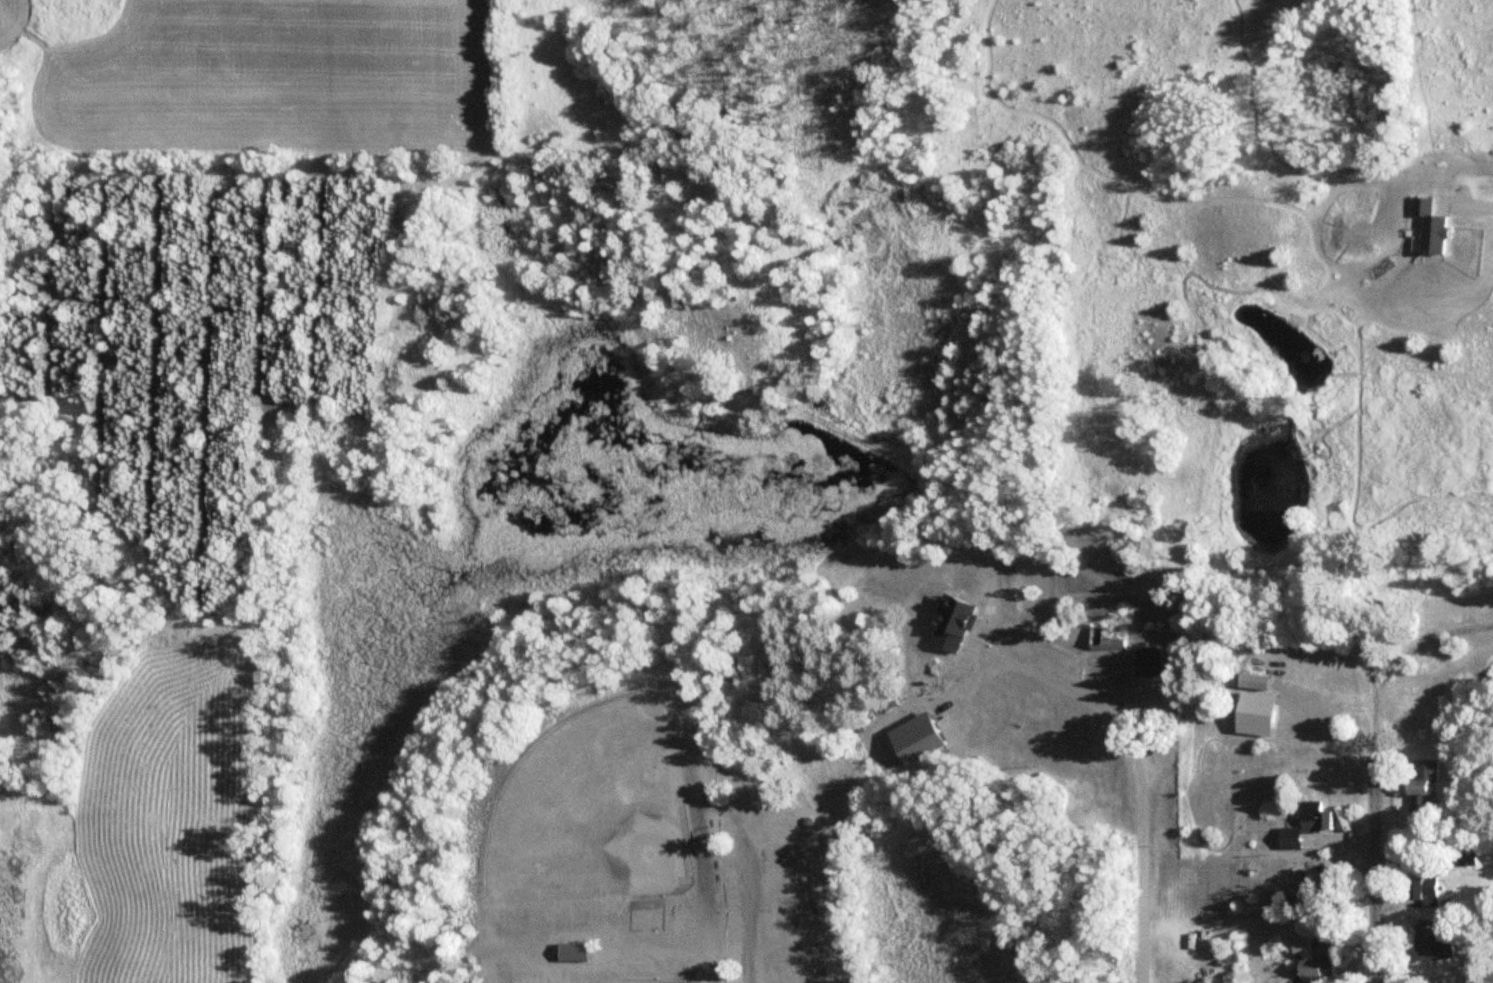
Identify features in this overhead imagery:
building: (958, 624)
building: (1101, 640)
building: (1143, 662)
building: (1420, 782)
park: (593, 790)
park: (597, 808)
building: (1312, 815)
road: (1373, 834)
road: (1141, 857)
building: (1420, 888)
road: (748, 911)
building: (1431, 941)
building: (584, 952)
building: (1307, 958)
park: (601, 979)

